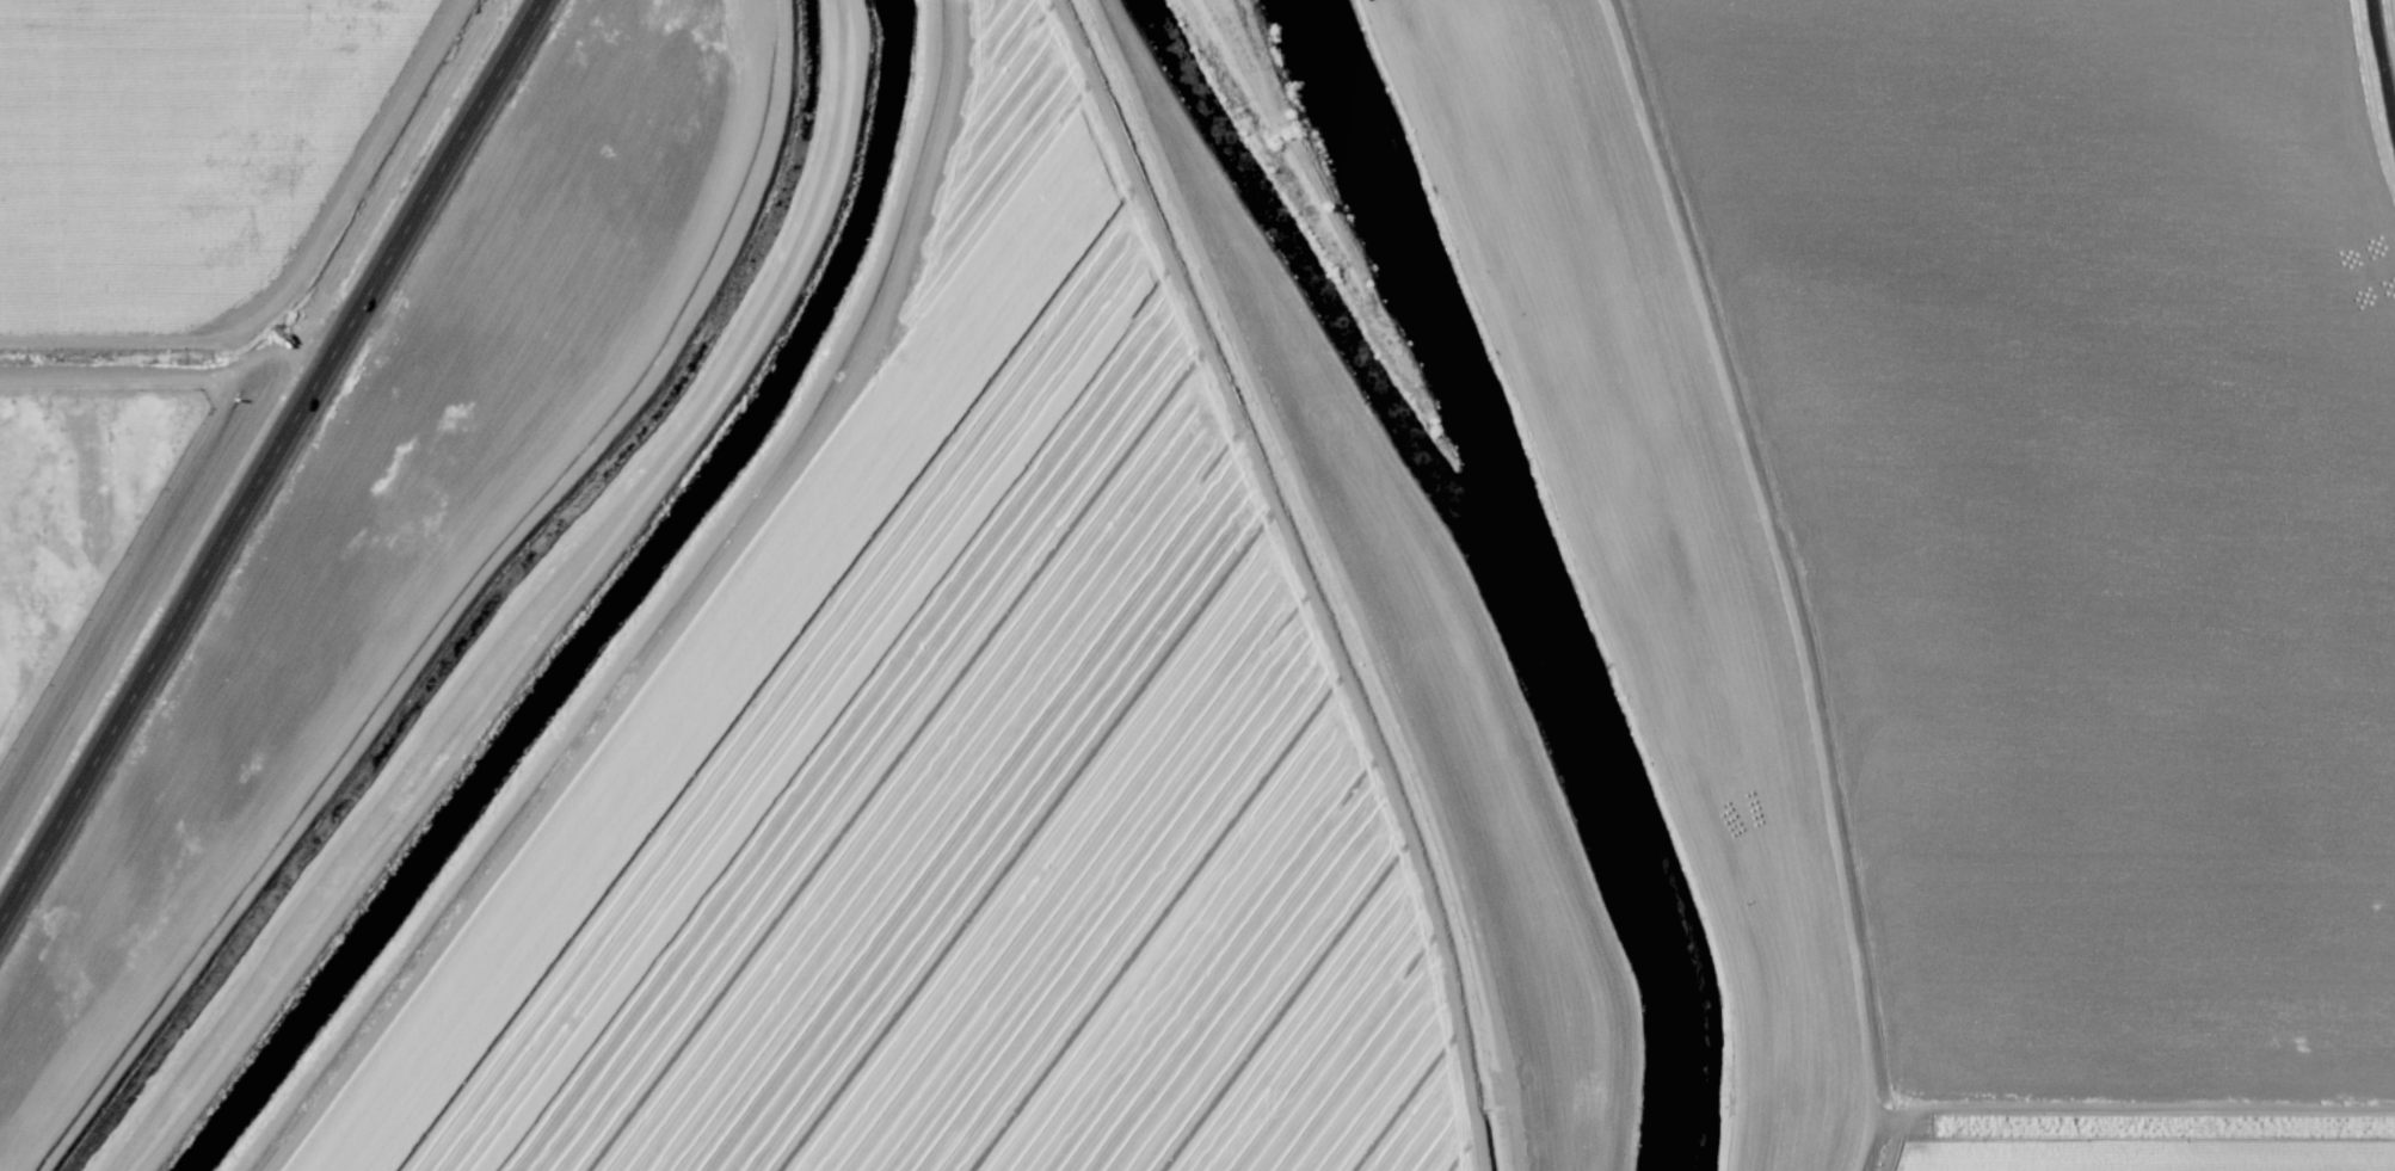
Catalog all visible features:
crop: (168, 294)
road: (270, 463)
river: (1529, 571)
road: (1336, 574)
road: (1779, 577)
road: (659, 615)
crop: (947, 770)

